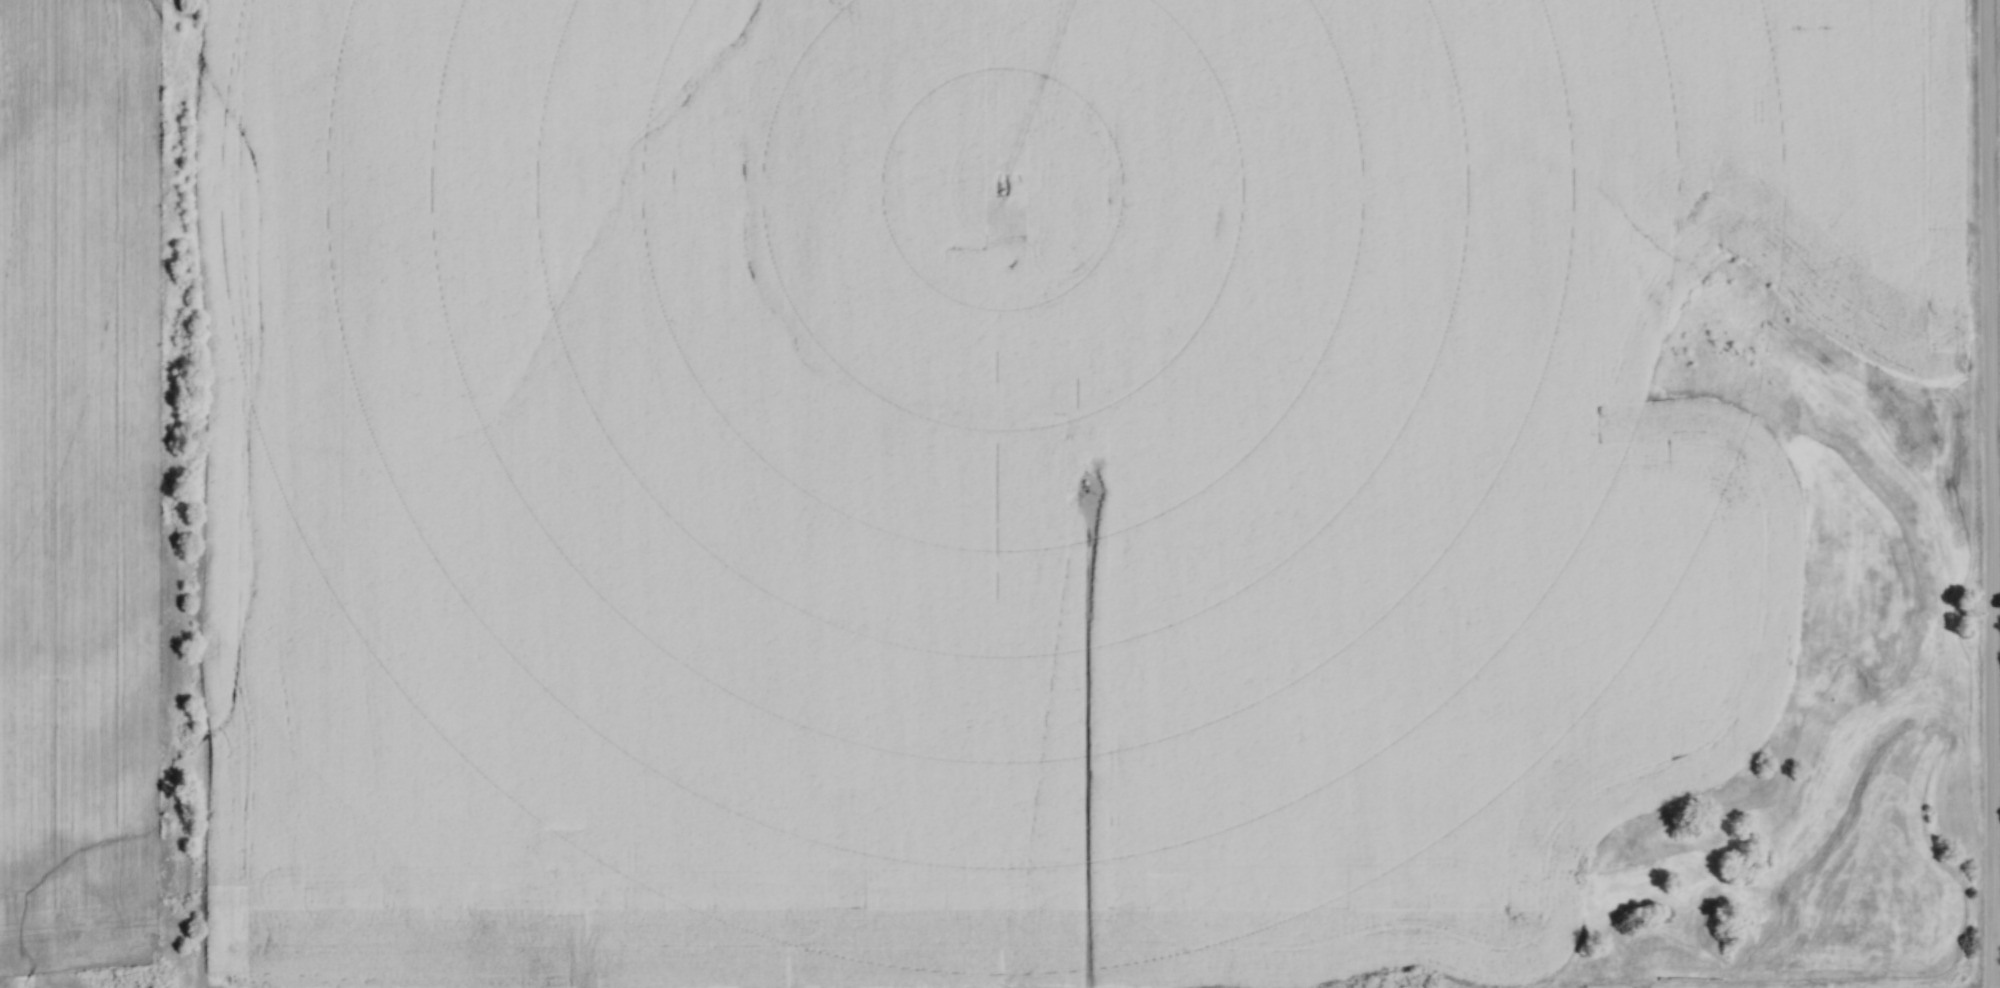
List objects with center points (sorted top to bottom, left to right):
road: (1989, 494)

